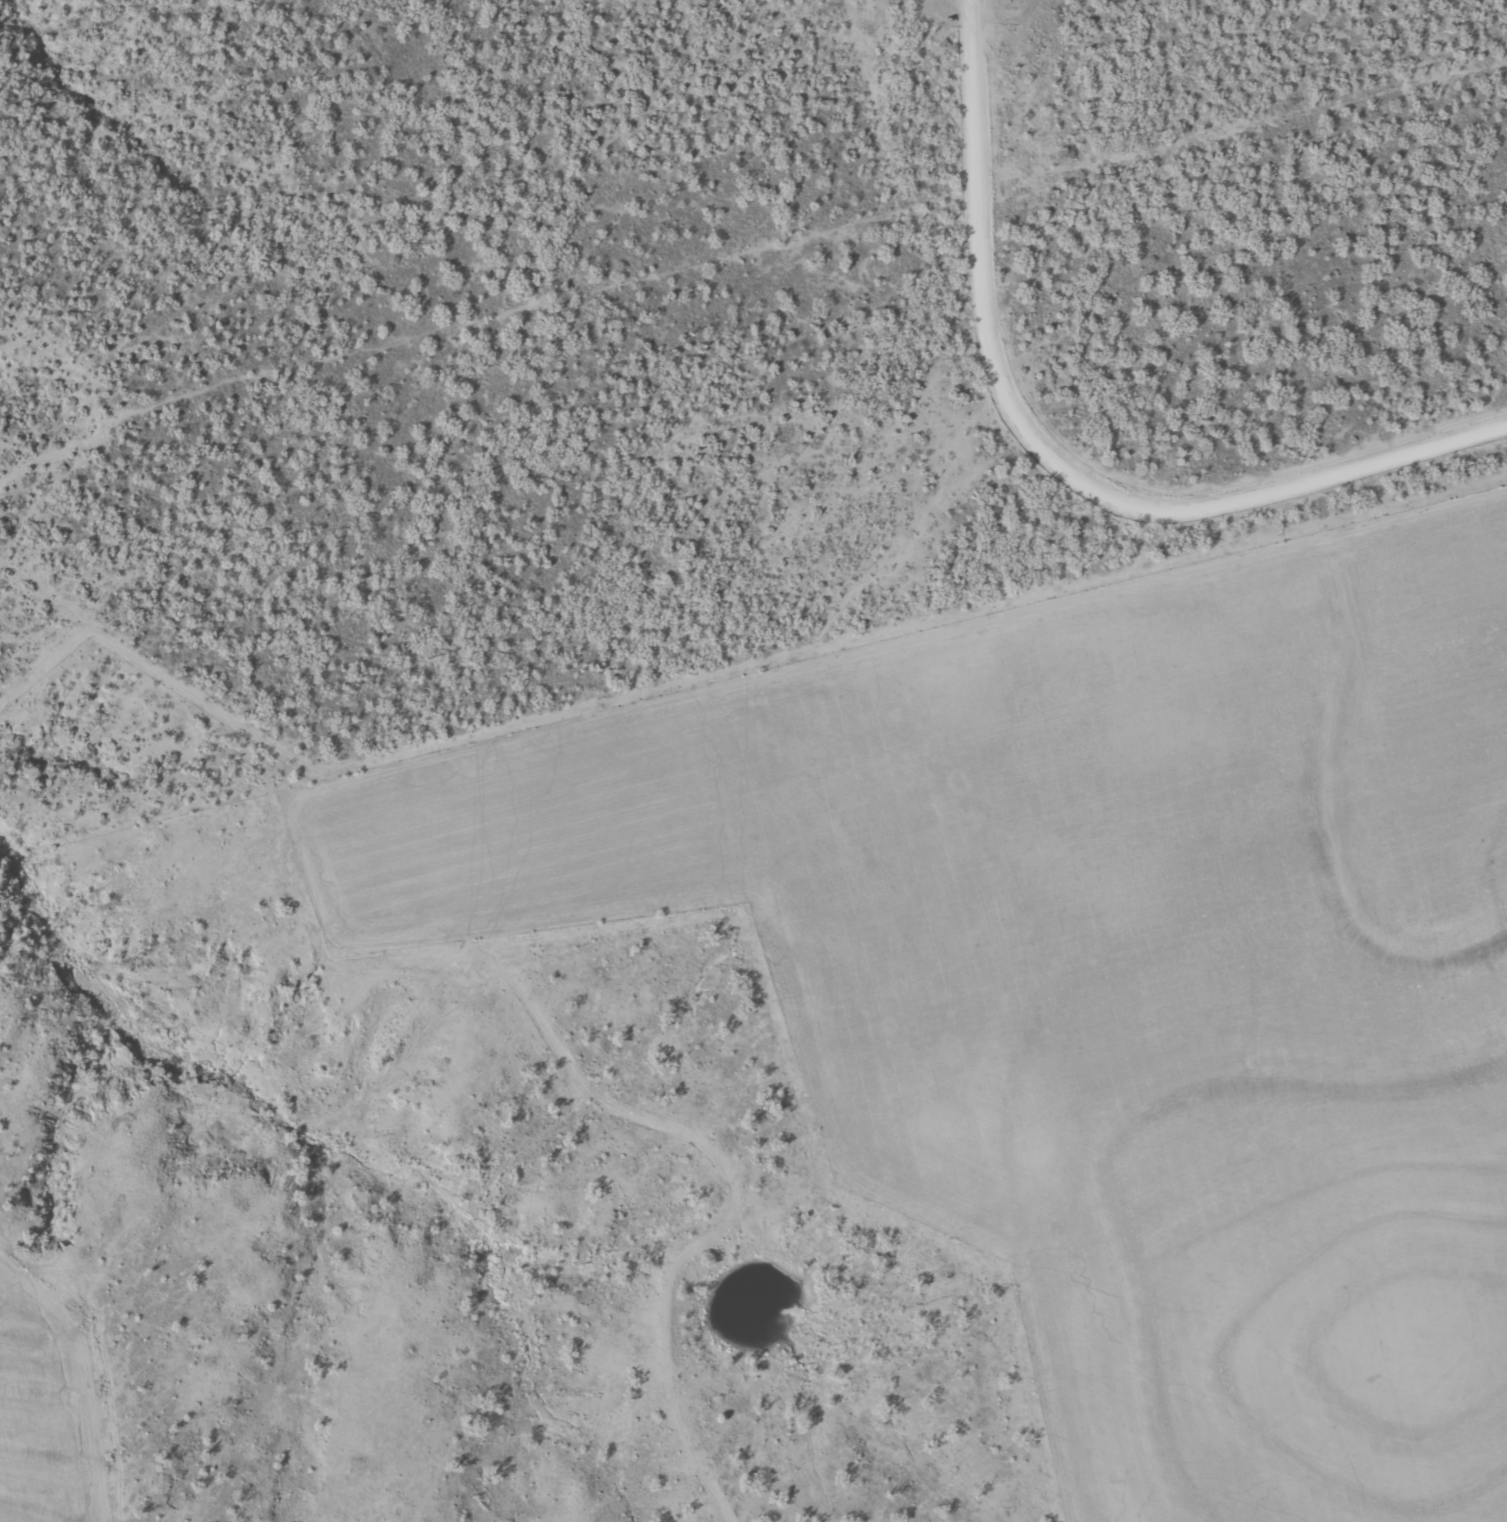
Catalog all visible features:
road: (1044, 456)
road: (890, 1167)

